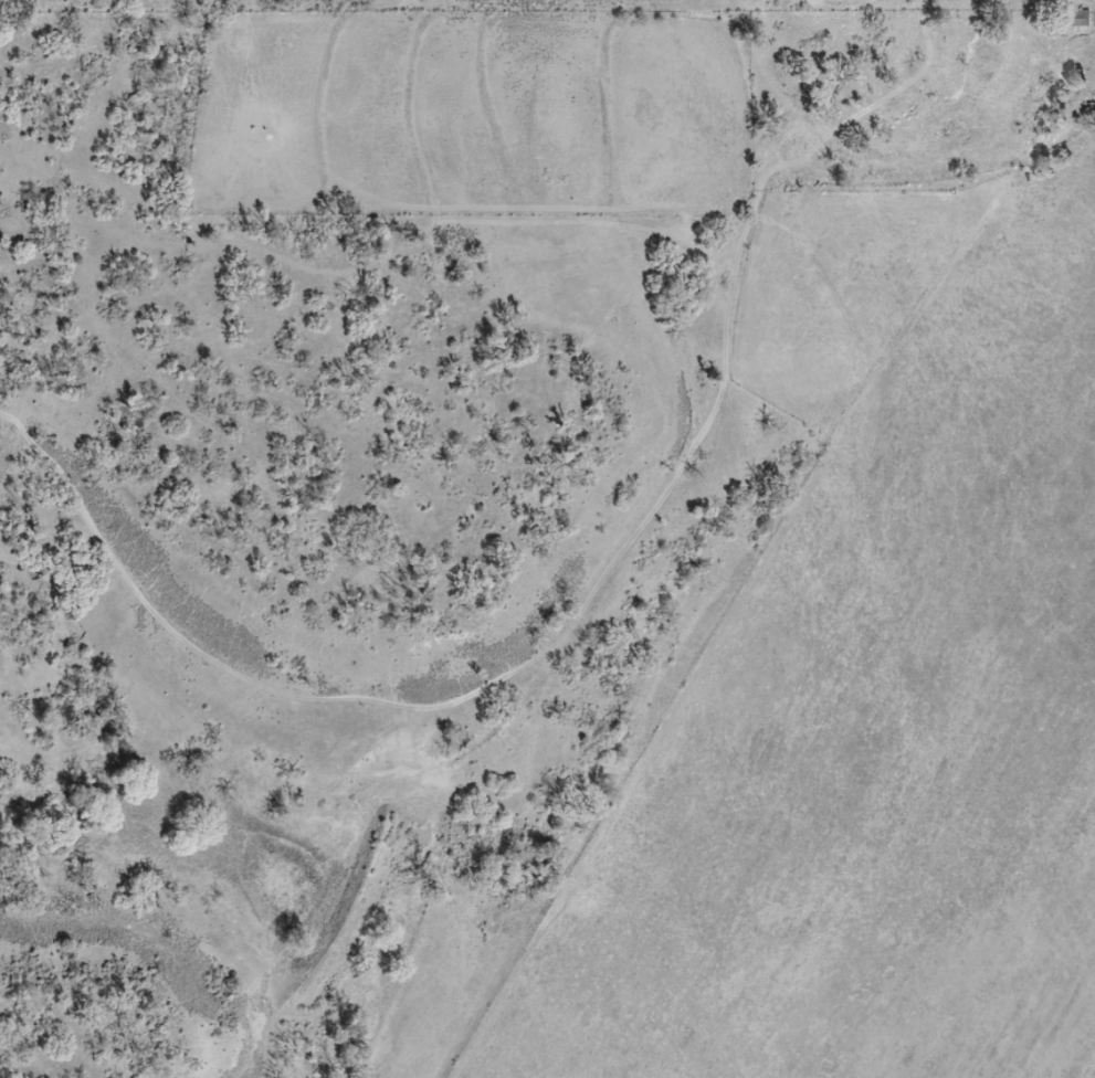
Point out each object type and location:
building: (1080, 18)

